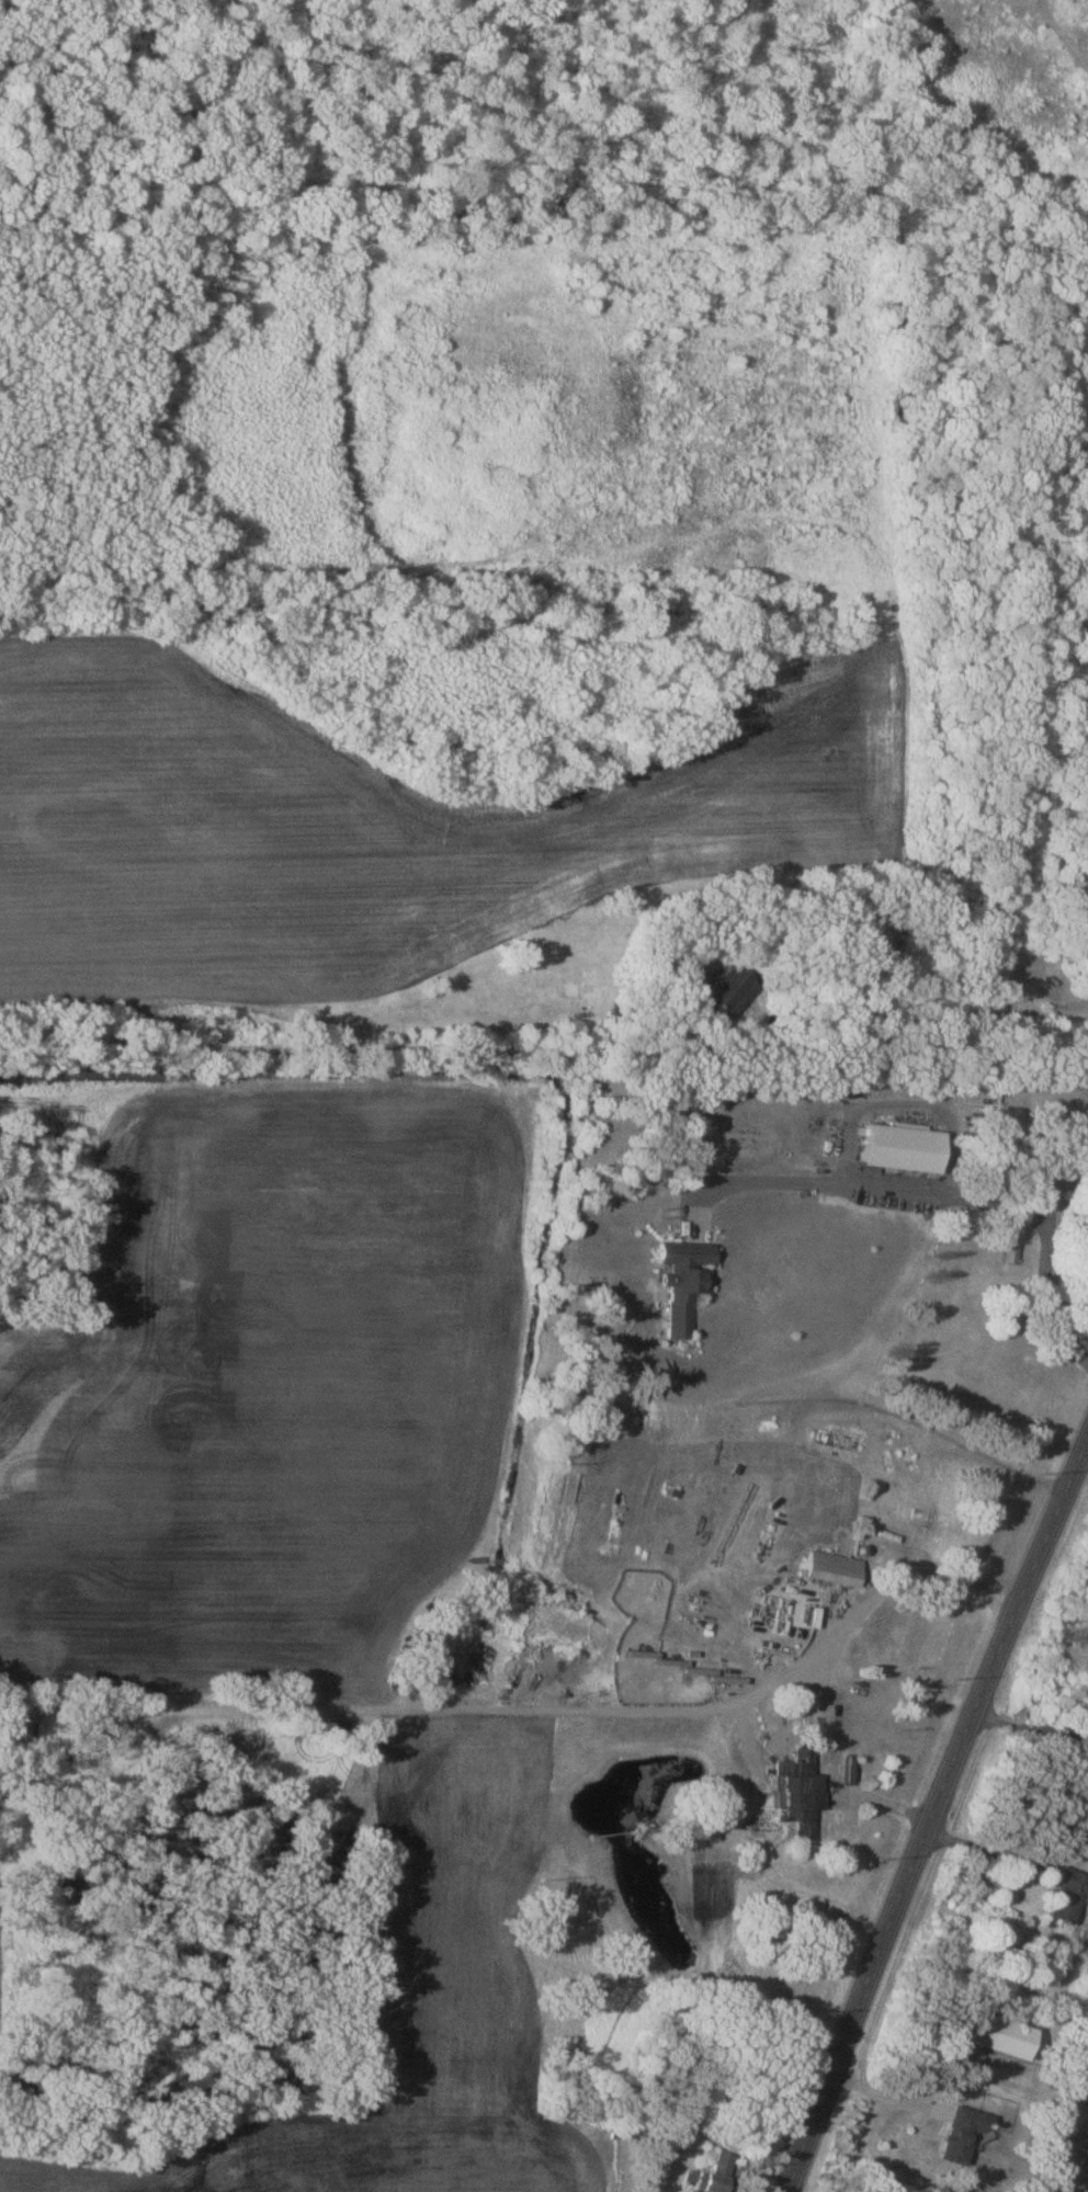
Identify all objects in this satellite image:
road: (920, 1040)
building: (909, 1149)
road: (875, 1188)
road: (1047, 1248)
building: (1013, 1251)
building: (691, 1270)
building: (835, 1568)
road: (573, 1705)
road: (1034, 1726)
building: (14, 1731)
building: (801, 1792)
road: (938, 1819)
road: (1011, 1856)
building: (1069, 1896)
building: (1004, 2035)
road: (888, 2090)
building: (962, 2135)
building: (719, 2174)

